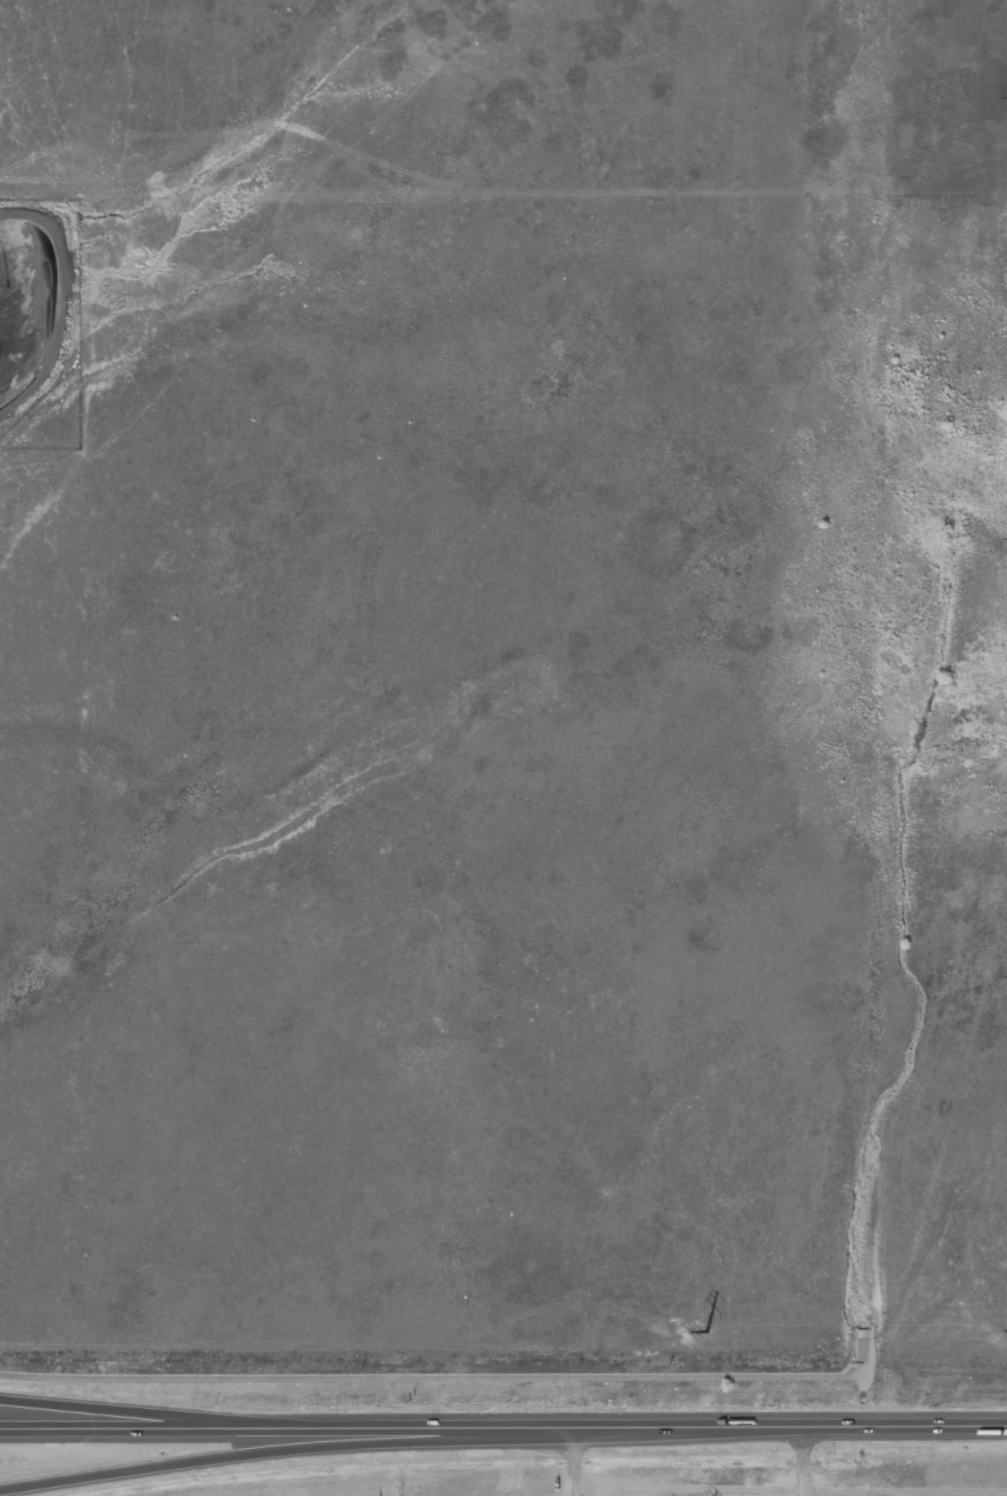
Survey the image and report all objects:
power tower: (708, 1330)
road: (143, 1413)
road: (905, 1427)
road: (683, 1428)
road: (425, 1429)
road: (143, 1431)
road: (281, 1457)

